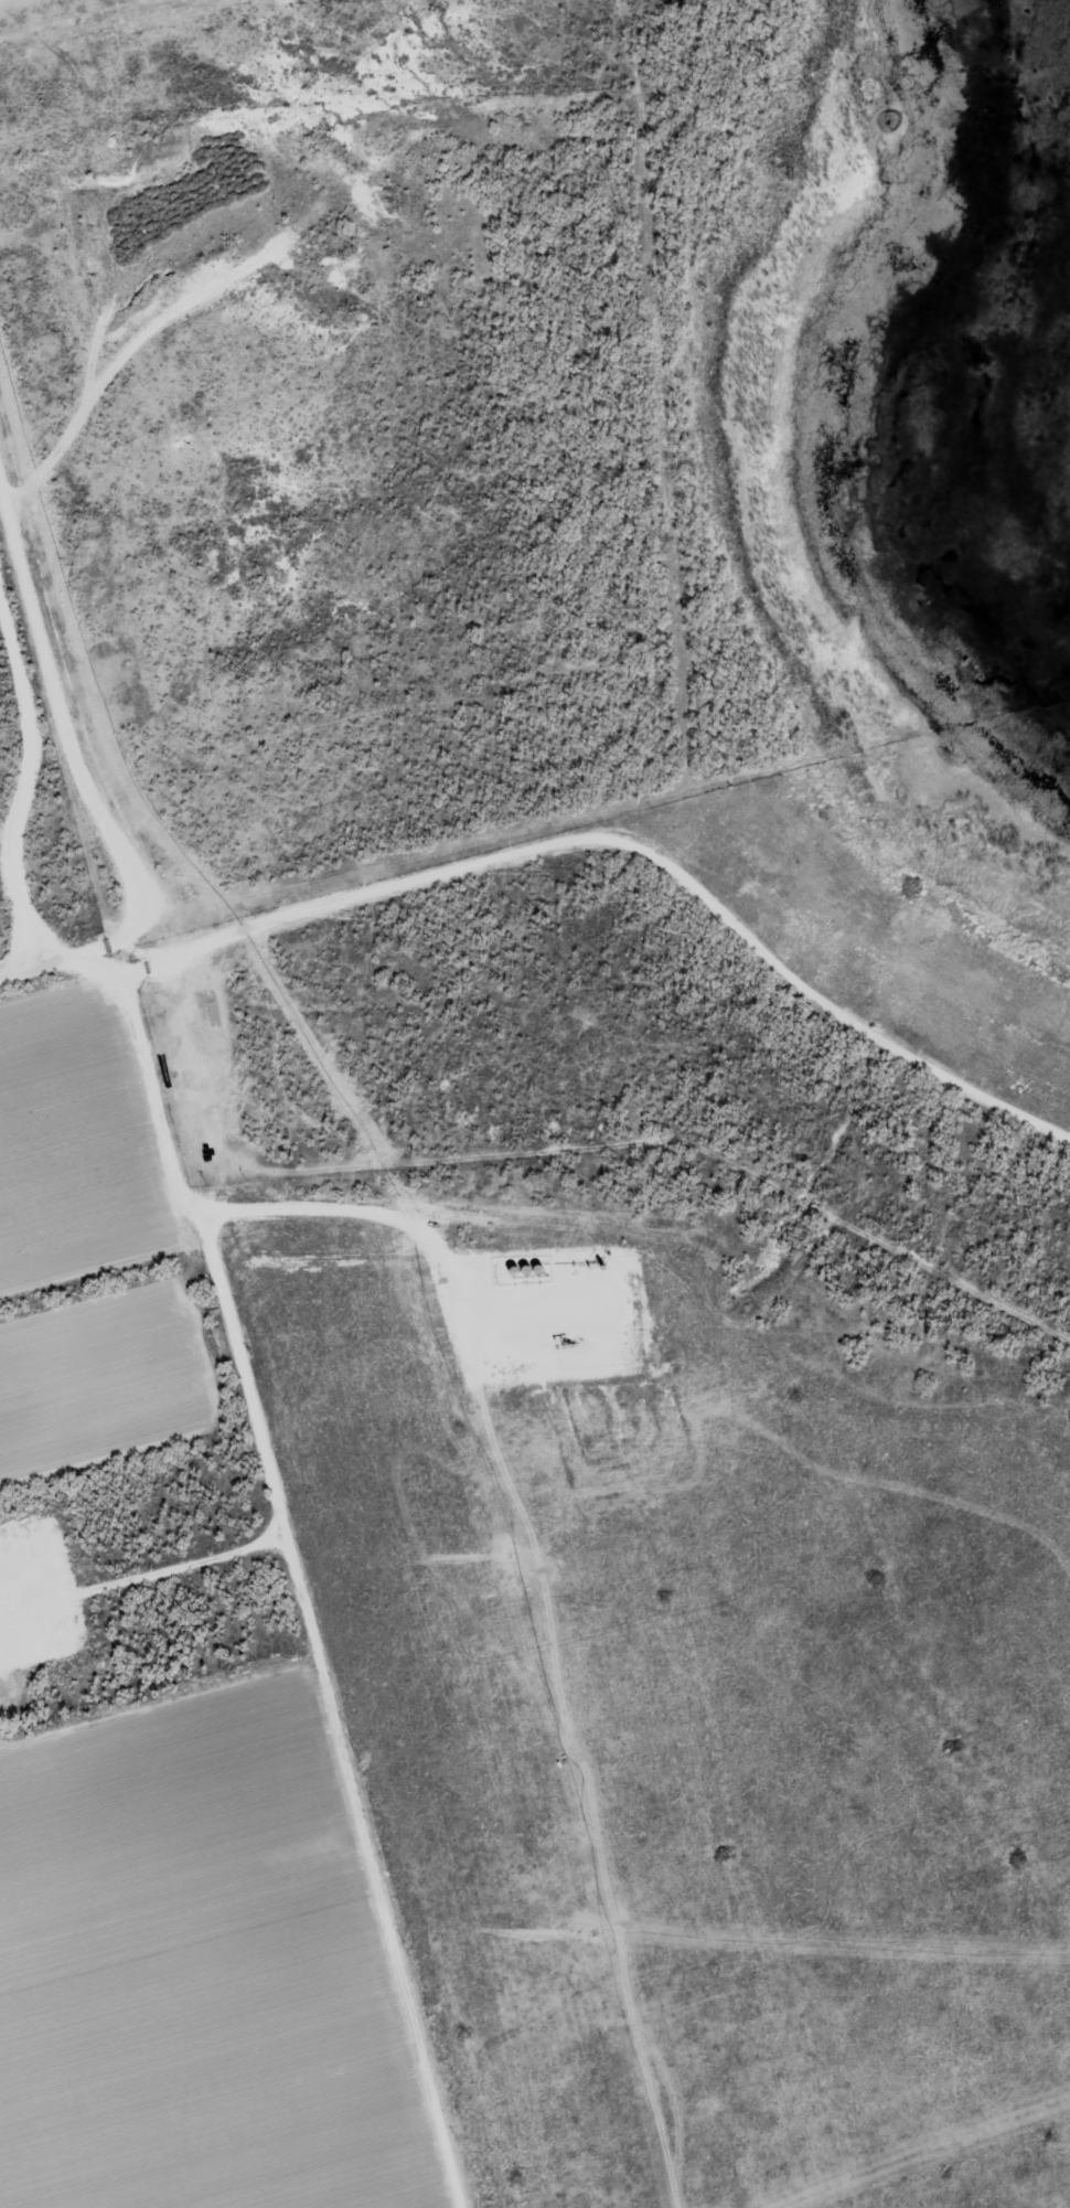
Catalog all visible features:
road: (65, 968)

